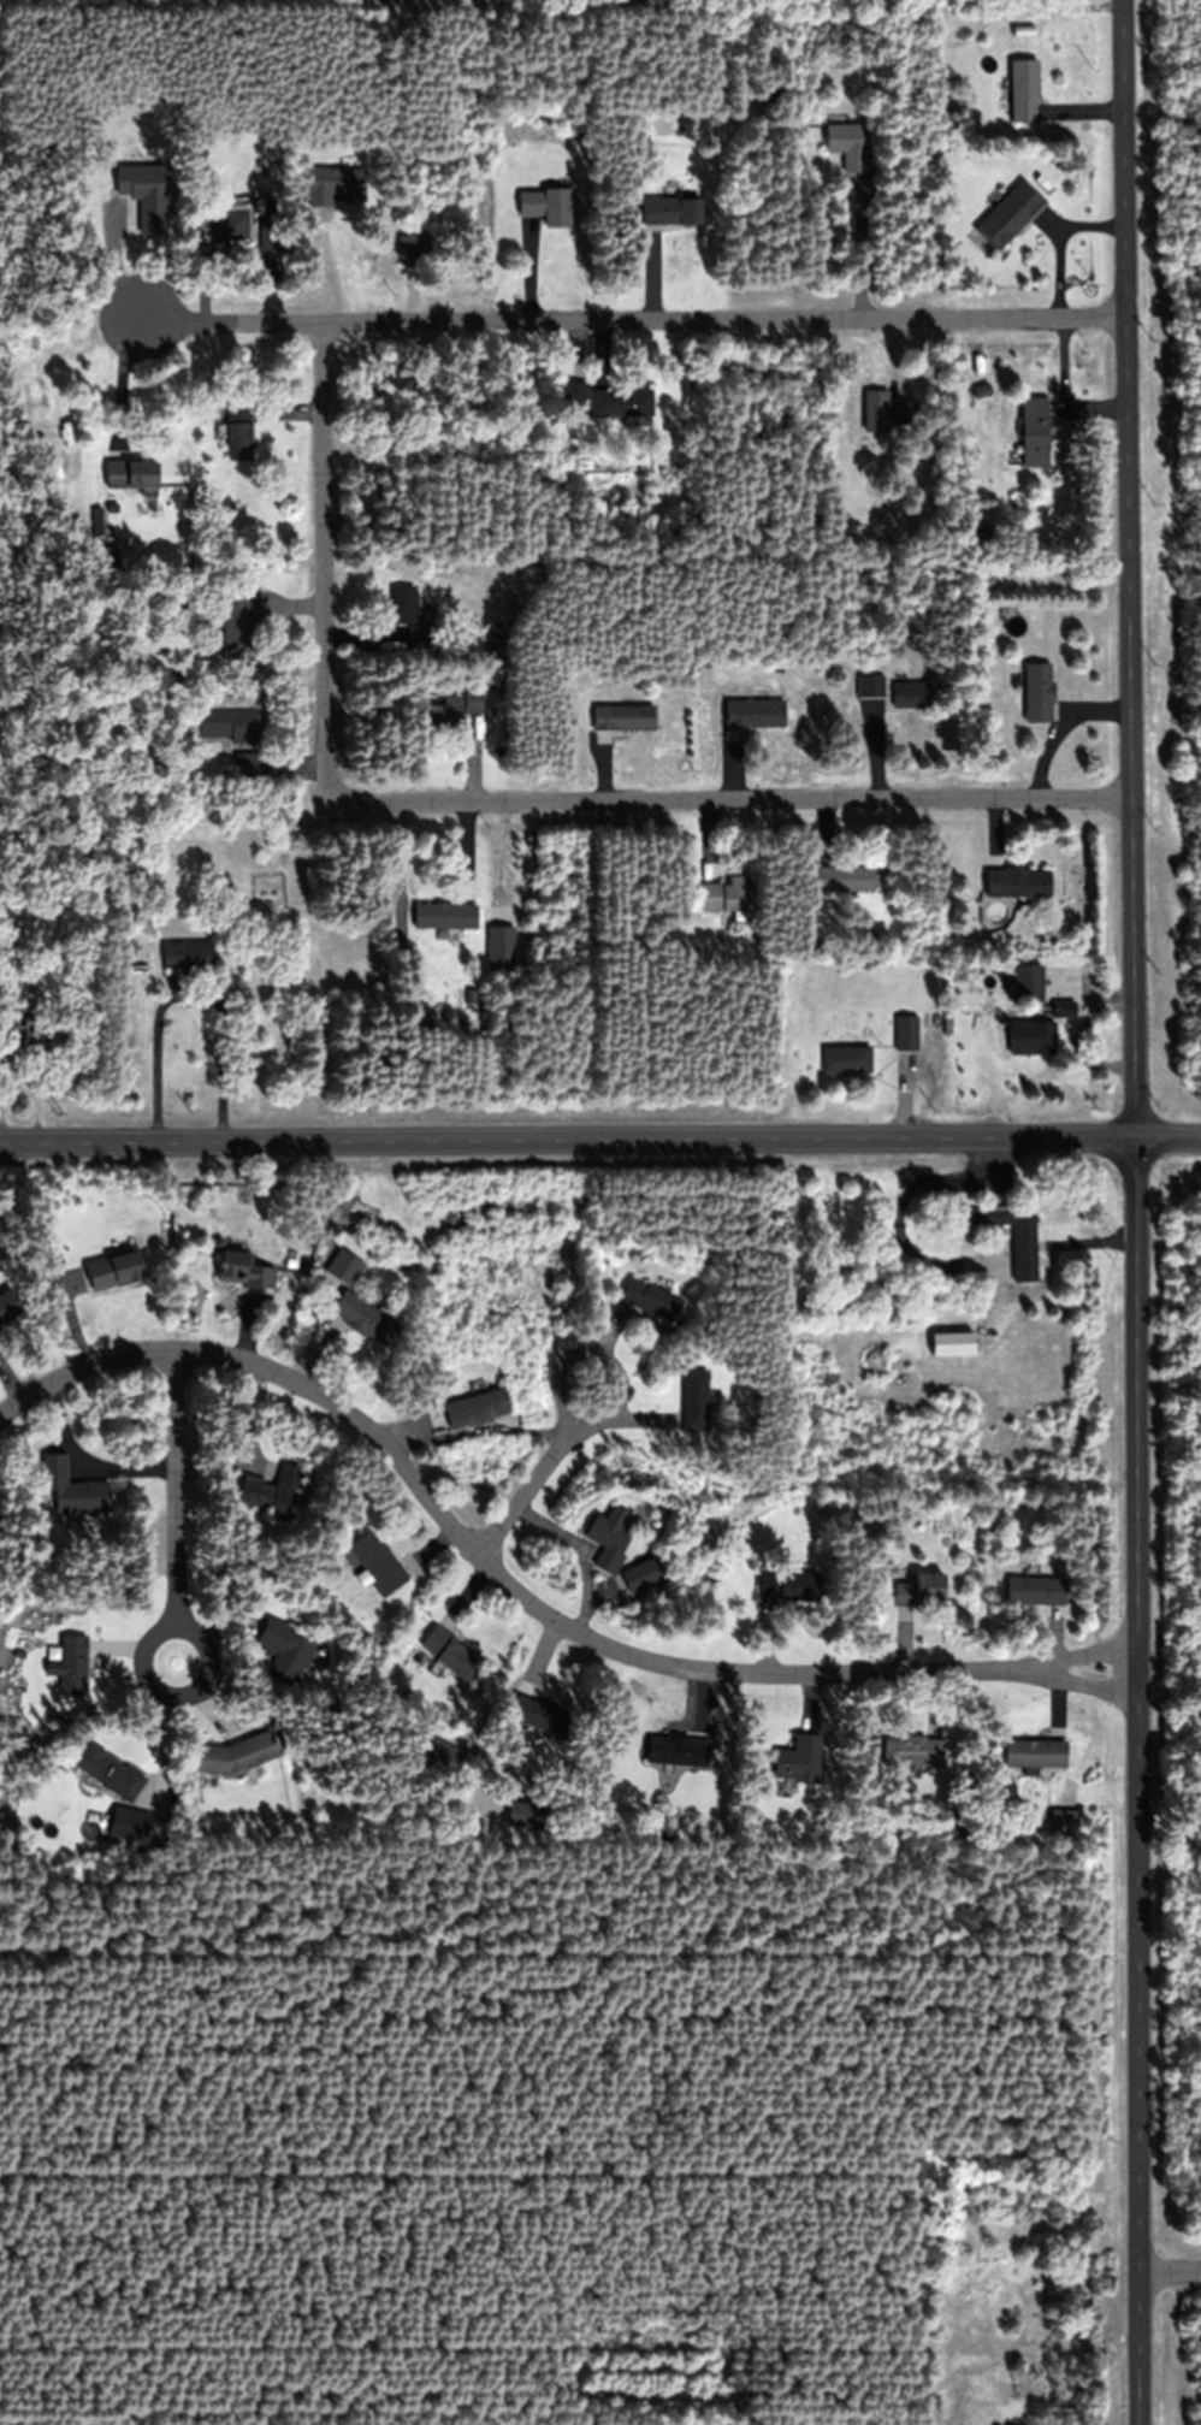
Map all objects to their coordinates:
building: (1024, 90)
building: (848, 146)
building: (333, 184)
building: (546, 206)
building: (673, 212)
building: (1010, 215)
building: (230, 230)
building: (270, 233)
building: (414, 247)
road: (634, 323)
building: (573, 400)
building: (622, 403)
building: (903, 410)
building: (876, 413)
building: (239, 431)
building: (1035, 433)
building: (131, 477)
road: (323, 561)
building: (410, 617)
building: (237, 626)
building: (874, 687)
building: (1039, 693)
building: (911, 697)
building: (455, 710)
building: (755, 715)
building: (623, 718)
building: (229, 726)
road: (730, 803)
building: (845, 880)
building: (1018, 883)
building: (727, 897)
building: (445, 917)
building: (188, 957)
building: (1028, 984)
building: (1064, 1010)
building: (906, 1035)
building: (18, 1039)
building: (1042, 1039)
building: (846, 1060)
road: (600, 1142)
road: (1141, 1212)
building: (1024, 1258)
building: (244, 1268)
building: (112, 1270)
building: (652, 1300)
building: (8, 1307)
building: (363, 1318)
building: (952, 1344)
building: (697, 1402)
building: (478, 1408)
road: (605, 1421)
building: (73, 1489)
building: (270, 1492)
road: (172, 1507)
building: (611, 1539)
building: (379, 1566)
building: (644, 1574)
building: (791, 1585)
building: (1035, 1590)
building: (922, 1591)
road: (519, 1593)
building: (283, 1652)
building: (451, 1652)
building: (69, 1664)
building: (540, 1715)
building: (684, 1751)
building: (912, 1752)
building: (1037, 1755)
building: (235, 1756)
building: (444, 1757)
building: (798, 1761)
building: (107, 1770)
building: (526, 1816)
building: (128, 1824)
building: (1063, 1824)
road: (1171, 2271)

